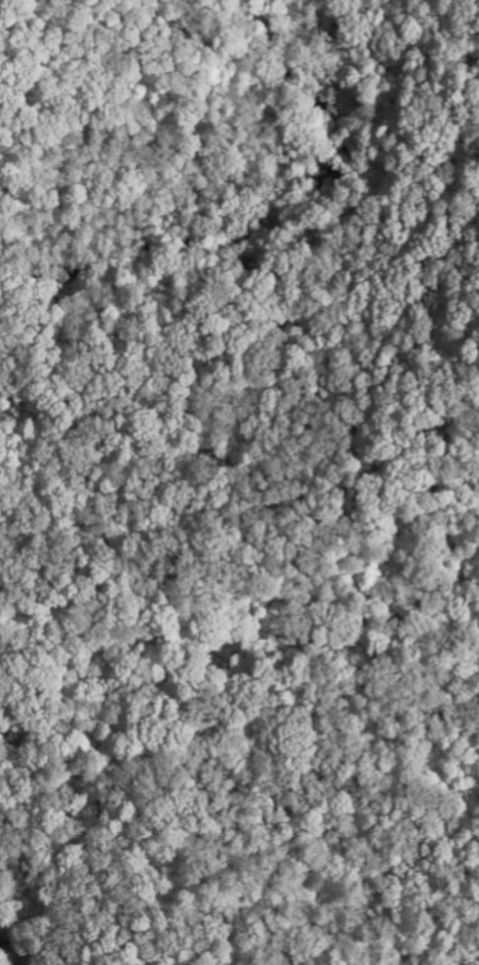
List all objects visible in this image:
road: (308, 281)

